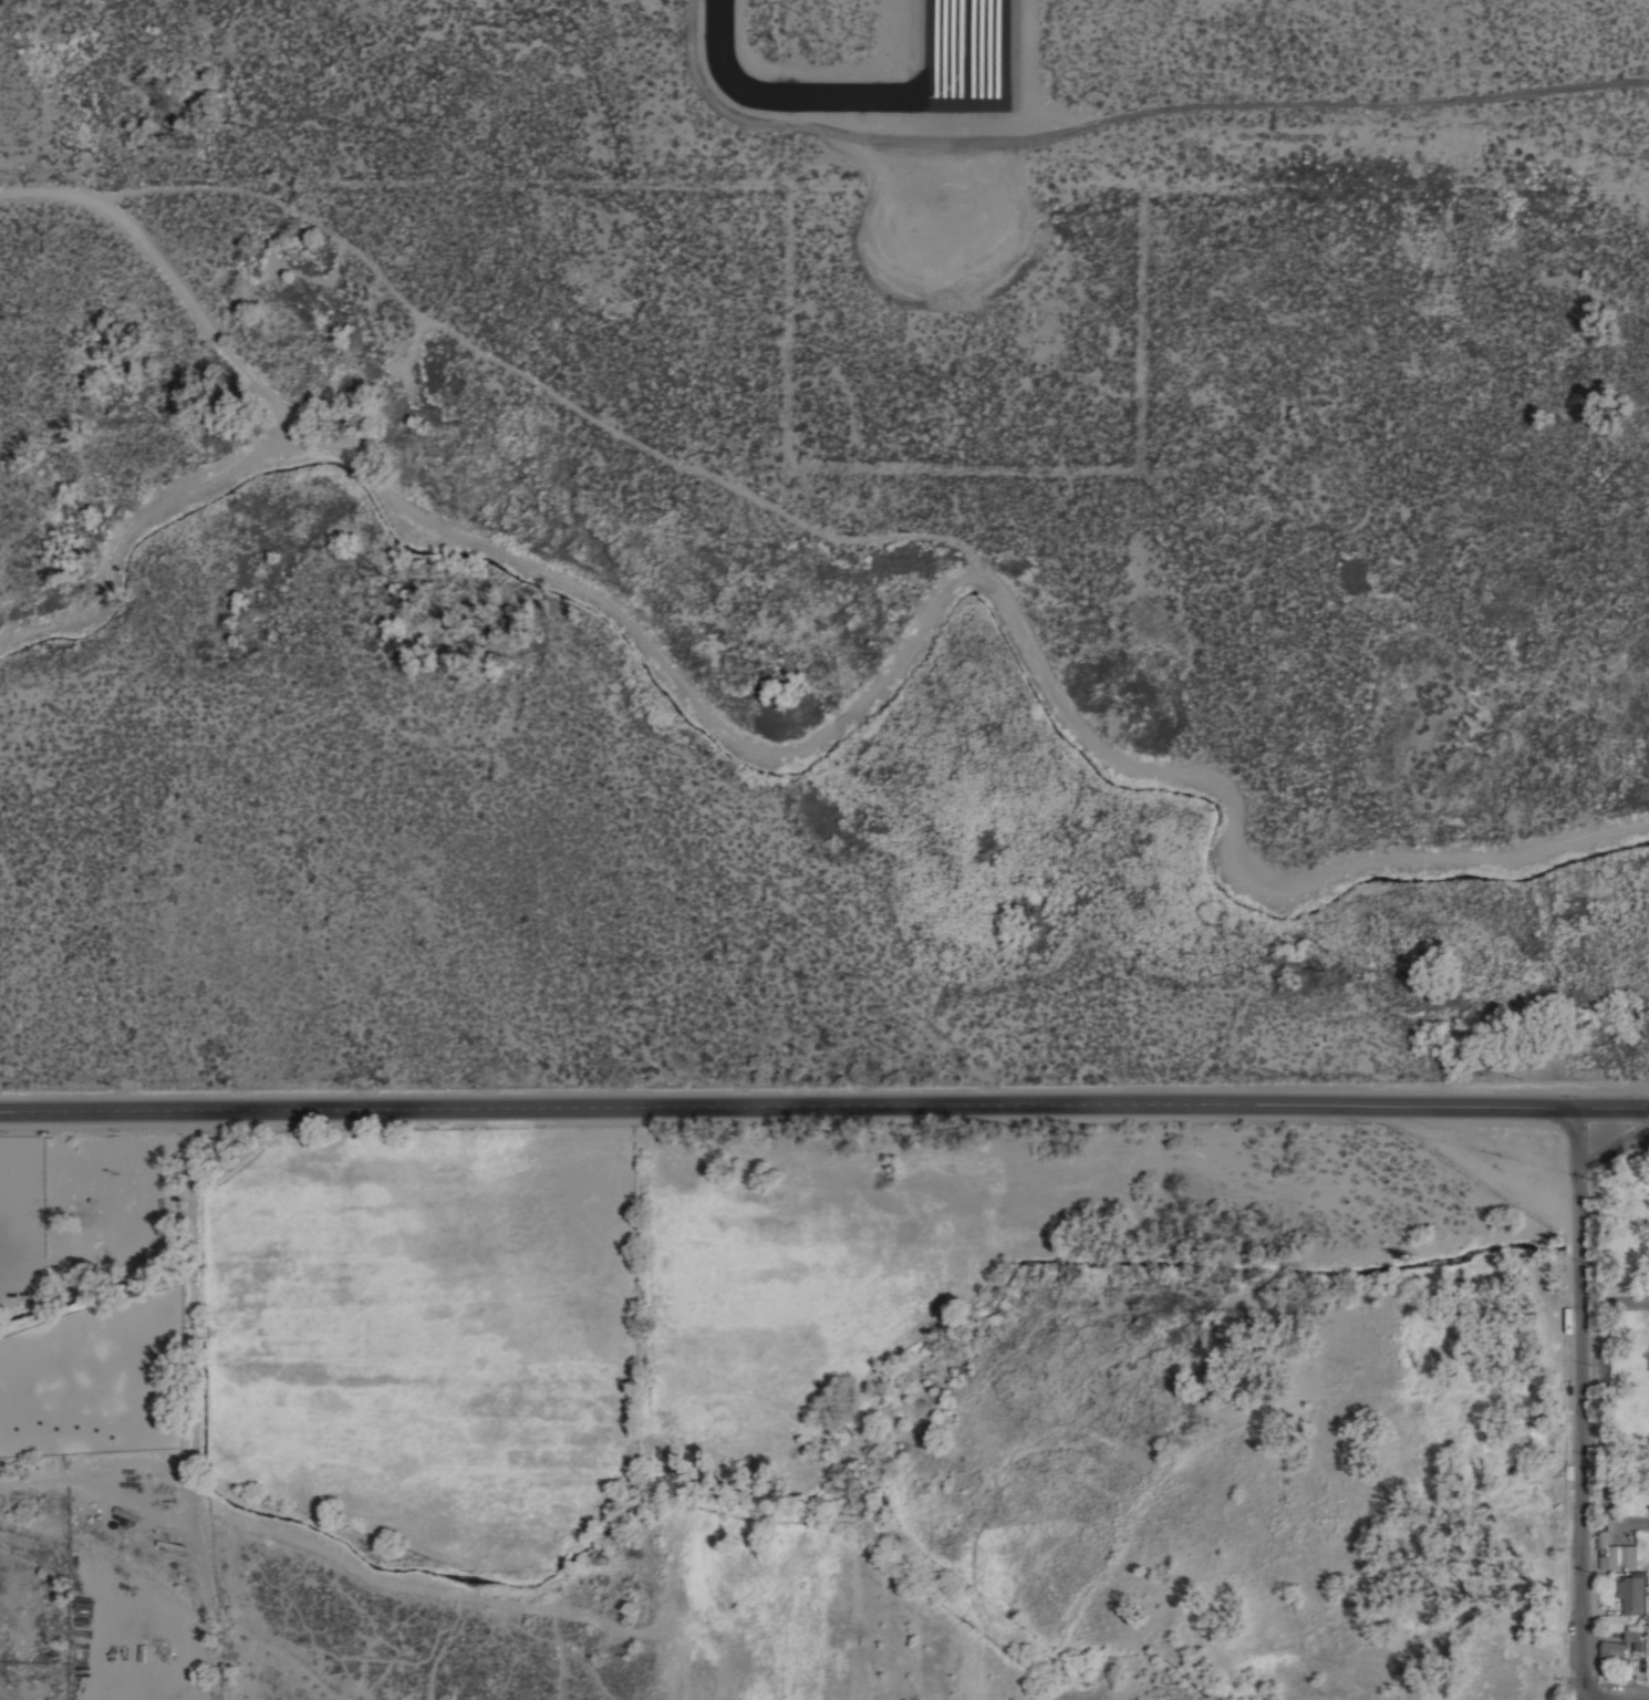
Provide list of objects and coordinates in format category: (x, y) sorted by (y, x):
airport runway: (965, 48)
airport taxiway: (839, 97)
airport: (873, 149)
road: (519, 372)
road: (841, 718)
road: (824, 1103)
road: (1612, 1302)
park: (1620, 1362)
road: (1611, 1379)
road: (1575, 1431)
road: (1612, 1521)
building: (1615, 1553)
building: (1632, 1592)
building: (1632, 1632)
building: (1609, 1650)

